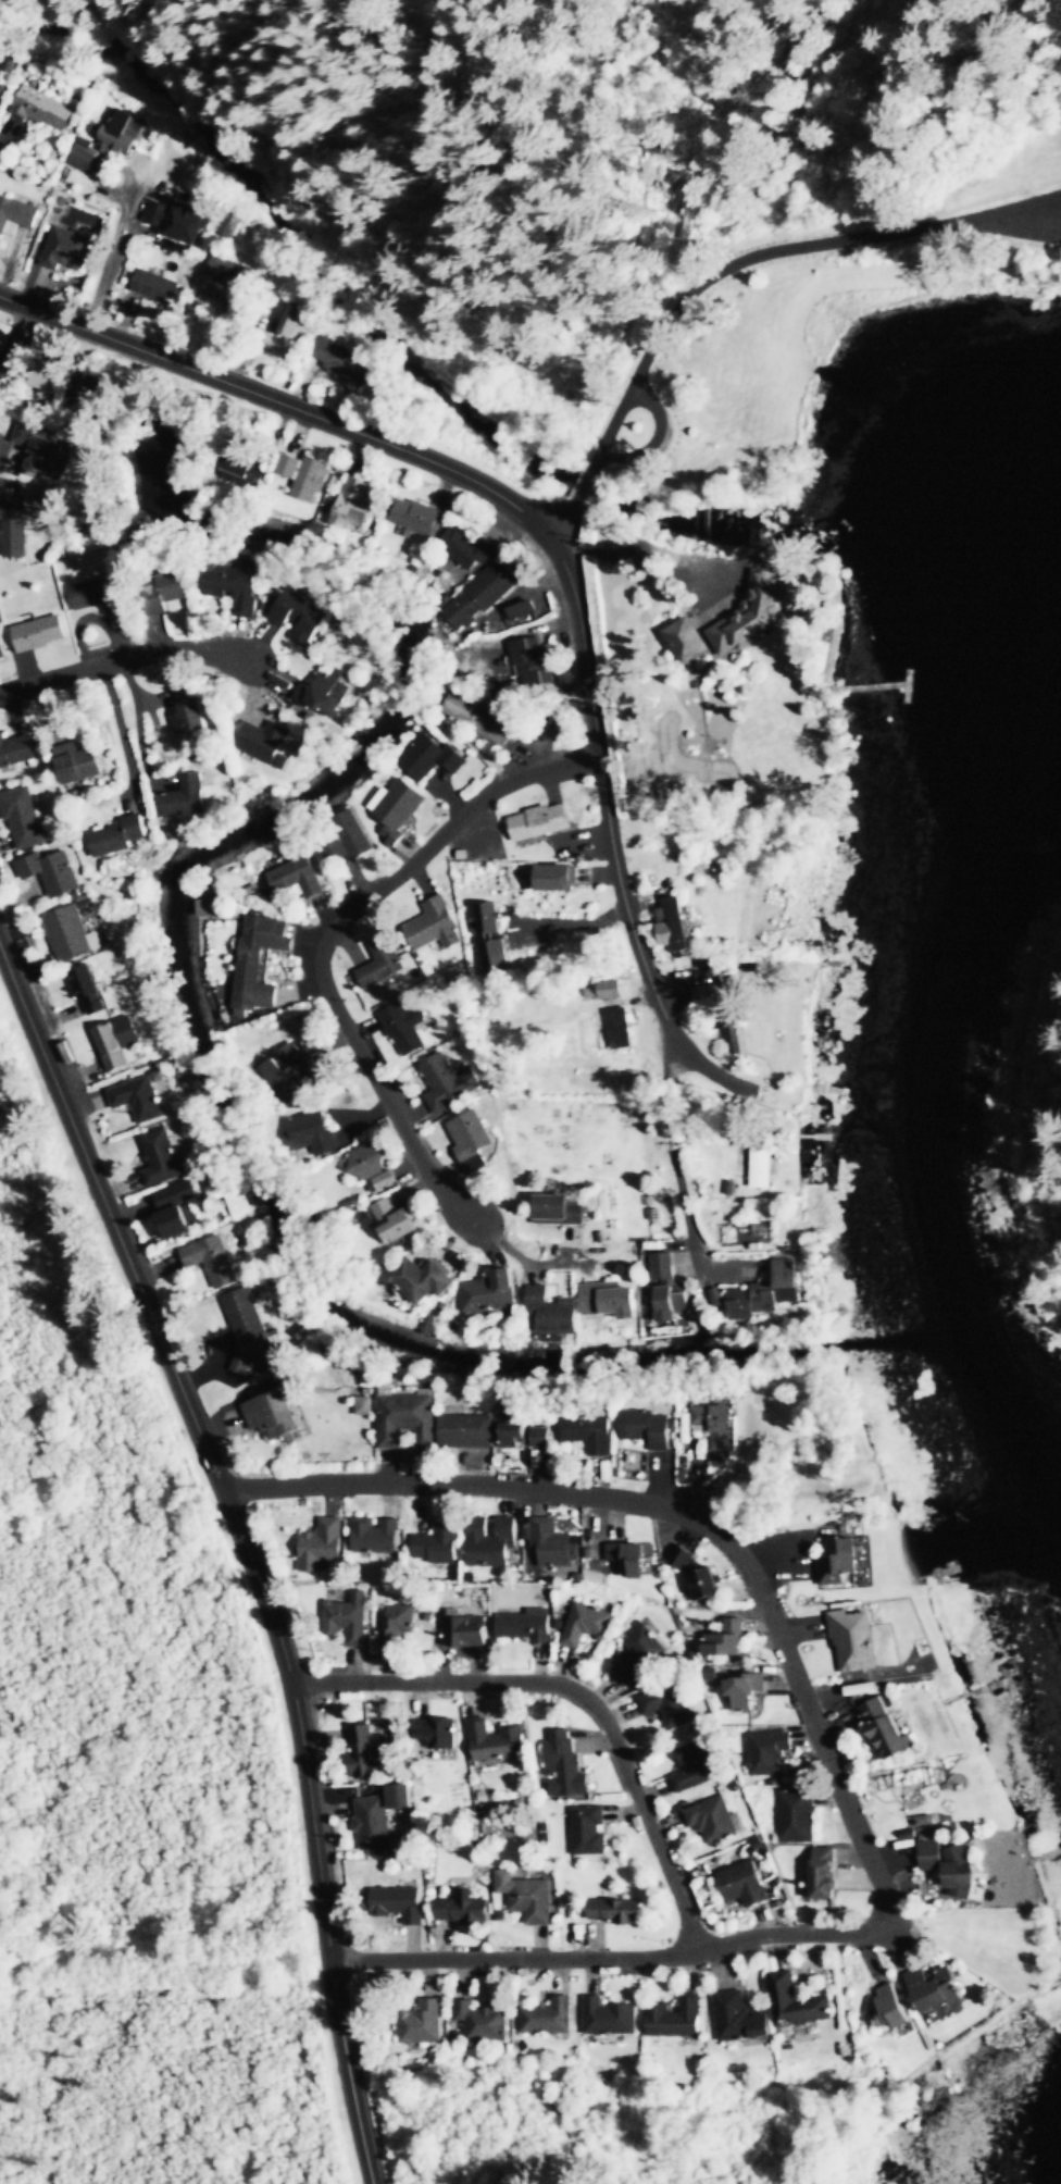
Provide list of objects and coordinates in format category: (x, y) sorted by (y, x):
building: (42, 110)
building: (123, 132)
building: (84, 154)
building: (16, 213)
park: (981, 216)
building: (232, 223)
building: (68, 249)
road: (732, 265)
building: (228, 269)
building: (157, 284)
river: (401, 300)
building: (294, 320)
building: (344, 362)
building: (10, 369)
building: (47, 377)
building: (77, 395)
road: (286, 406)
building: (39, 450)
building: (244, 471)
building: (311, 480)
building: (353, 504)
building: (417, 518)
building: (13, 526)
building: (467, 549)
building: (234, 587)
building: (163, 592)
building: (98, 595)
building: (480, 595)
building: (300, 616)
building: (753, 616)
building: (40, 634)
building: (686, 642)
building: (1, 648)
road: (141, 656)
building: (532, 665)
building: (325, 695)
building: (190, 716)
building: (483, 718)
building: (265, 743)
building: (16, 752)
building: (432, 758)
building: (78, 765)
building: (187, 797)
road: (609, 798)
building: (399, 806)
building: (24, 819)
building: (540, 822)
building: (353, 833)
building: (118, 836)
building: (52, 872)
river: (196, 876)
building: (562, 878)
building: (289, 882)
building: (489, 918)
building: (439, 925)
building: (673, 926)
building: (72, 934)
road: (334, 936)
building: (497, 957)
building: (260, 960)
building: (382, 965)
building: (88, 990)
building: (707, 994)
building: (405, 1027)
building: (620, 1029)
building: (732, 1032)
building: (118, 1044)
building: (291, 1074)
building: (448, 1082)
building: (139, 1099)
building: (312, 1131)
building: (471, 1134)
building: (161, 1158)
building: (762, 1166)
building: (373, 1167)
building: (239, 1205)
building: (175, 1208)
building: (558, 1209)
building: (394, 1220)
building: (213, 1261)
building: (421, 1279)
building: (669, 1290)
building: (490, 1292)
building: (770, 1292)
building: (611, 1303)
building: (551, 1312)
building: (248, 1327)
building: (273, 1414)
building: (407, 1418)
building: (715, 1425)
building: (647, 1428)
building: (466, 1431)
building: (589, 1434)
building: (514, 1435)
building: (540, 1441)
road: (487, 1487)
building: (376, 1535)
building: (490, 1542)
building: (322, 1544)
building: (438, 1544)
building: (552, 1544)
road: (247, 1546)
building: (626, 1561)
building: (840, 1564)
building: (703, 1584)
building: (348, 1618)
building: (587, 1624)
building: (526, 1626)
building: (465, 1631)
building: (725, 1640)
building: (853, 1641)
building: (641, 1654)
building: (742, 1692)
road: (581, 1693)
building: (671, 1704)
building: (885, 1729)
building: (435, 1732)
building: (496, 1741)
building: (367, 1750)
building: (769, 1752)
building: (565, 1765)
building: (696, 1766)
building: (797, 1816)
building: (374, 1821)
building: (712, 1821)
building: (589, 1831)
building: (949, 1866)
building: (823, 1879)
building: (744, 1884)
building: (527, 1896)
building: (398, 1902)
building: (615, 1910)
building: (463, 1911)
road: (811, 1935)
building: (932, 1991)
building: (796, 2002)
building: (889, 2008)
building: (548, 2015)
building: (610, 2017)
building: (740, 2017)
building: (675, 2018)
building: (482, 2020)
building: (422, 2022)

